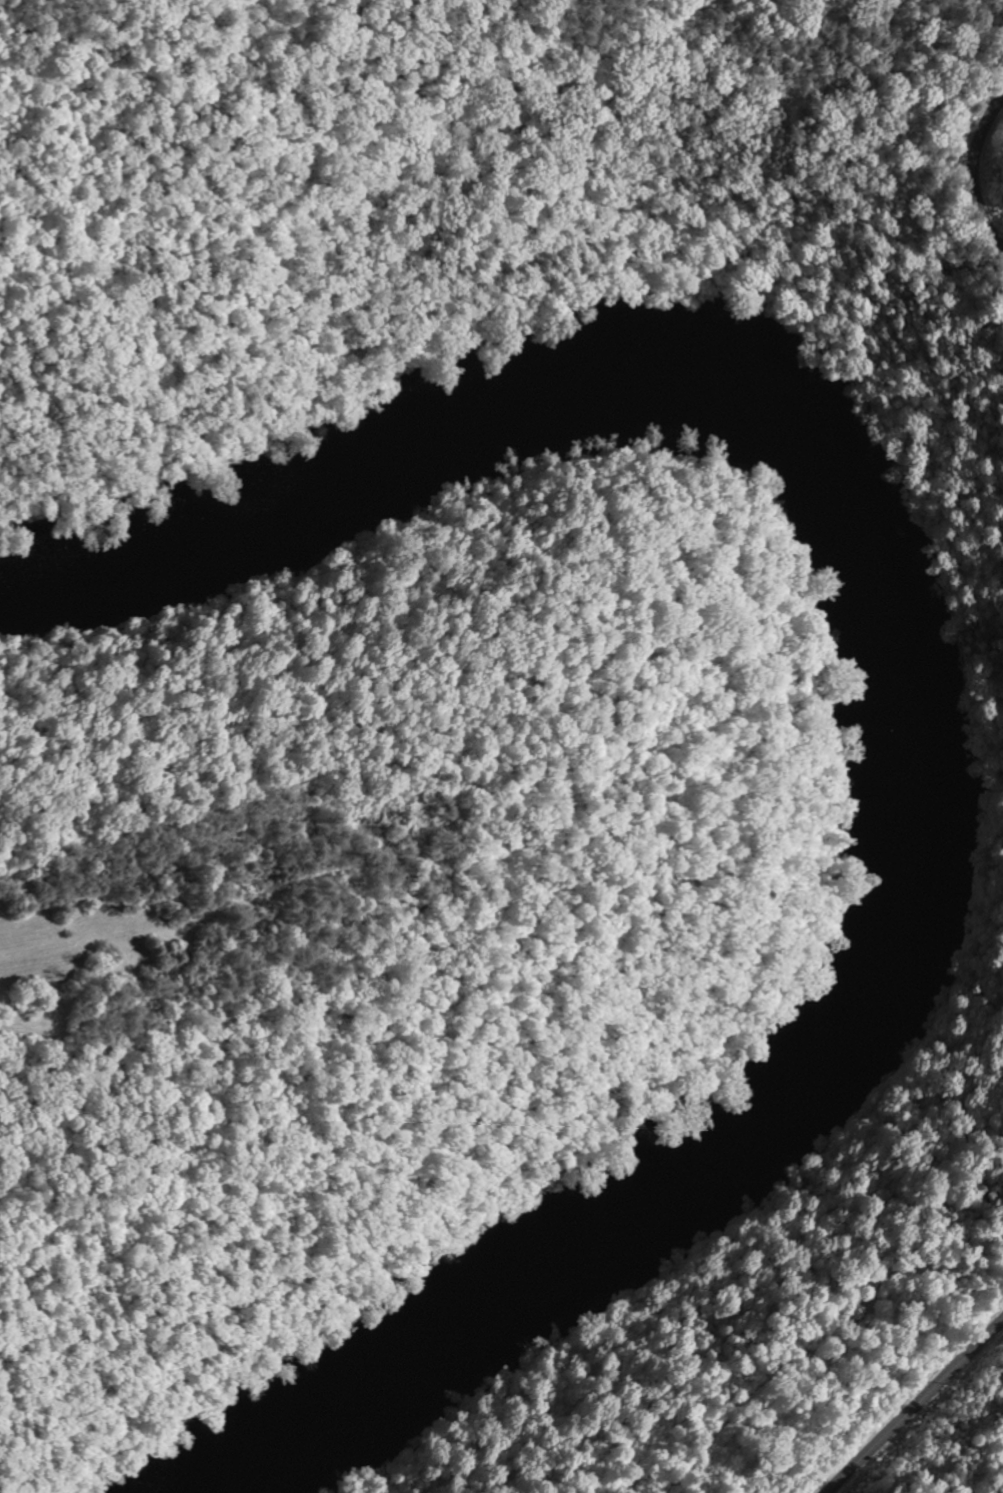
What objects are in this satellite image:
road: (987, 177)
river: (900, 681)
road: (912, 1398)

